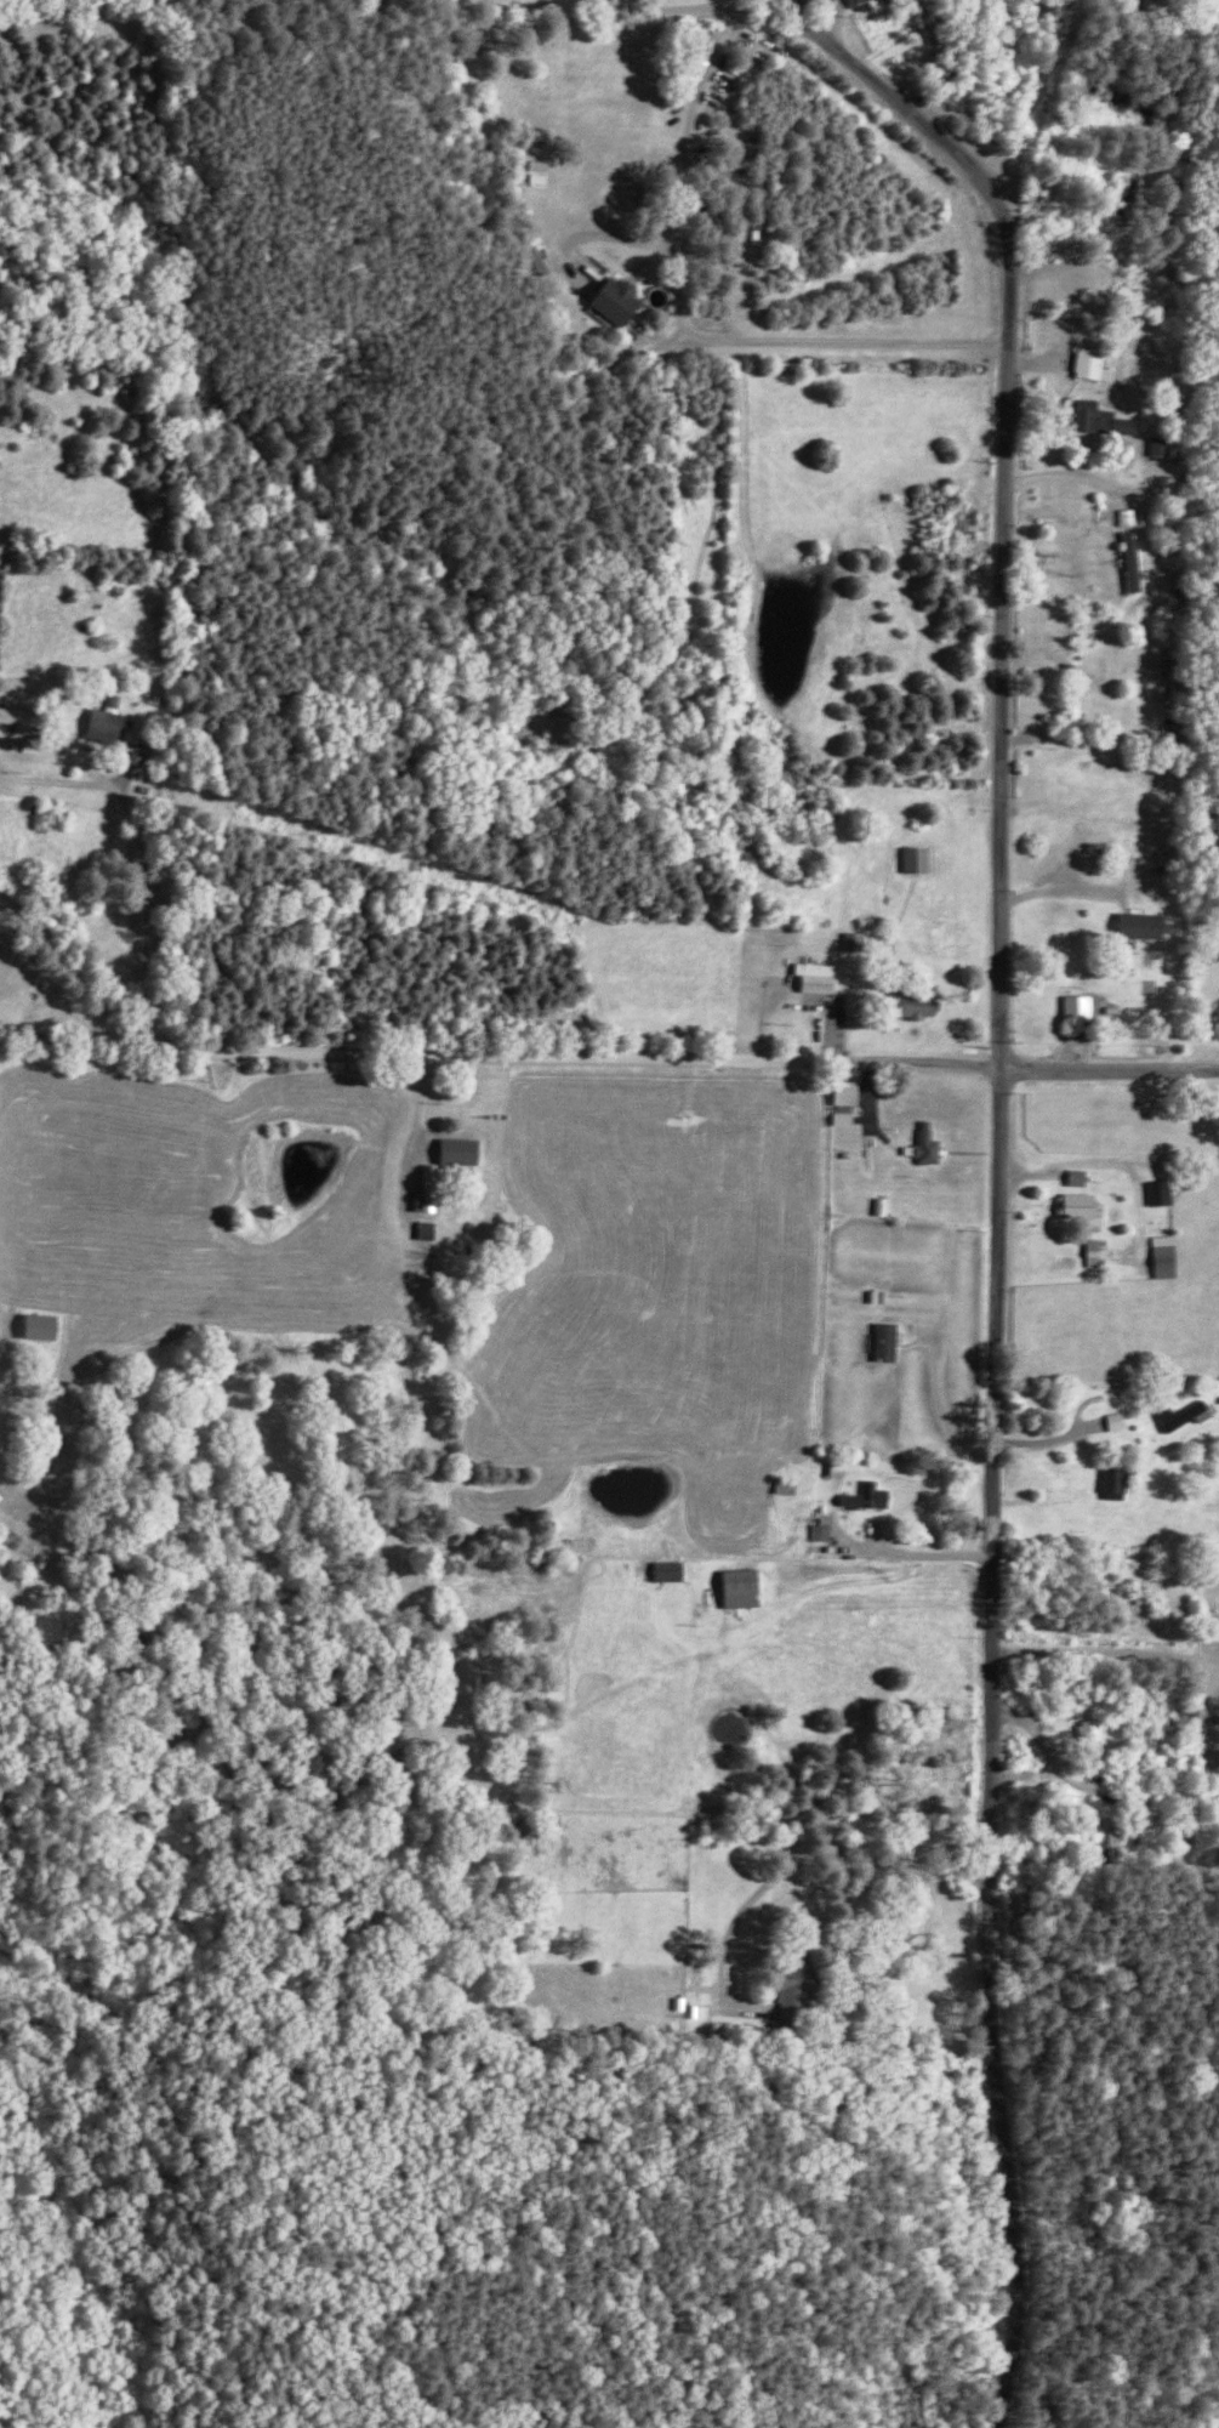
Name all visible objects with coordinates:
building: (616, 0)
road: (689, 4)
road: (833, 22)
building: (541, 165)
road: (683, 166)
building: (535, 260)
building: (619, 300)
road: (693, 336)
building: (1095, 363)
building: (1104, 419)
building: (1163, 445)
road: (1076, 471)
building: (1133, 517)
building: (1135, 561)
building: (28, 718)
building: (119, 724)
building: (147, 754)
road: (142, 846)
building: (919, 859)
road: (1071, 889)
building: (1143, 925)
building: (820, 977)
building: (916, 1005)
building: (1083, 1006)
road: (837, 1025)
road: (471, 1054)
road: (1110, 1069)
building: (849, 1101)
building: (930, 1145)
building: (463, 1152)
road: (1065, 1162)
road: (996, 1165)
building: (1080, 1177)
building: (1163, 1193)
building: (427, 1199)
building: (887, 1206)
building: (1084, 1207)
building: (432, 1230)
building: (1099, 1252)
building: (1168, 1256)
building: (53, 1326)
building: (888, 1342)
building: (1189, 1415)
road: (1044, 1442)
building: (1118, 1480)
building: (872, 1495)
road: (847, 1553)
building: (672, 1570)
building: (746, 1587)
road: (1104, 1653)
building: (1096, 1729)
road: (1059, 1762)
road: (787, 1866)
building: (803, 1979)

